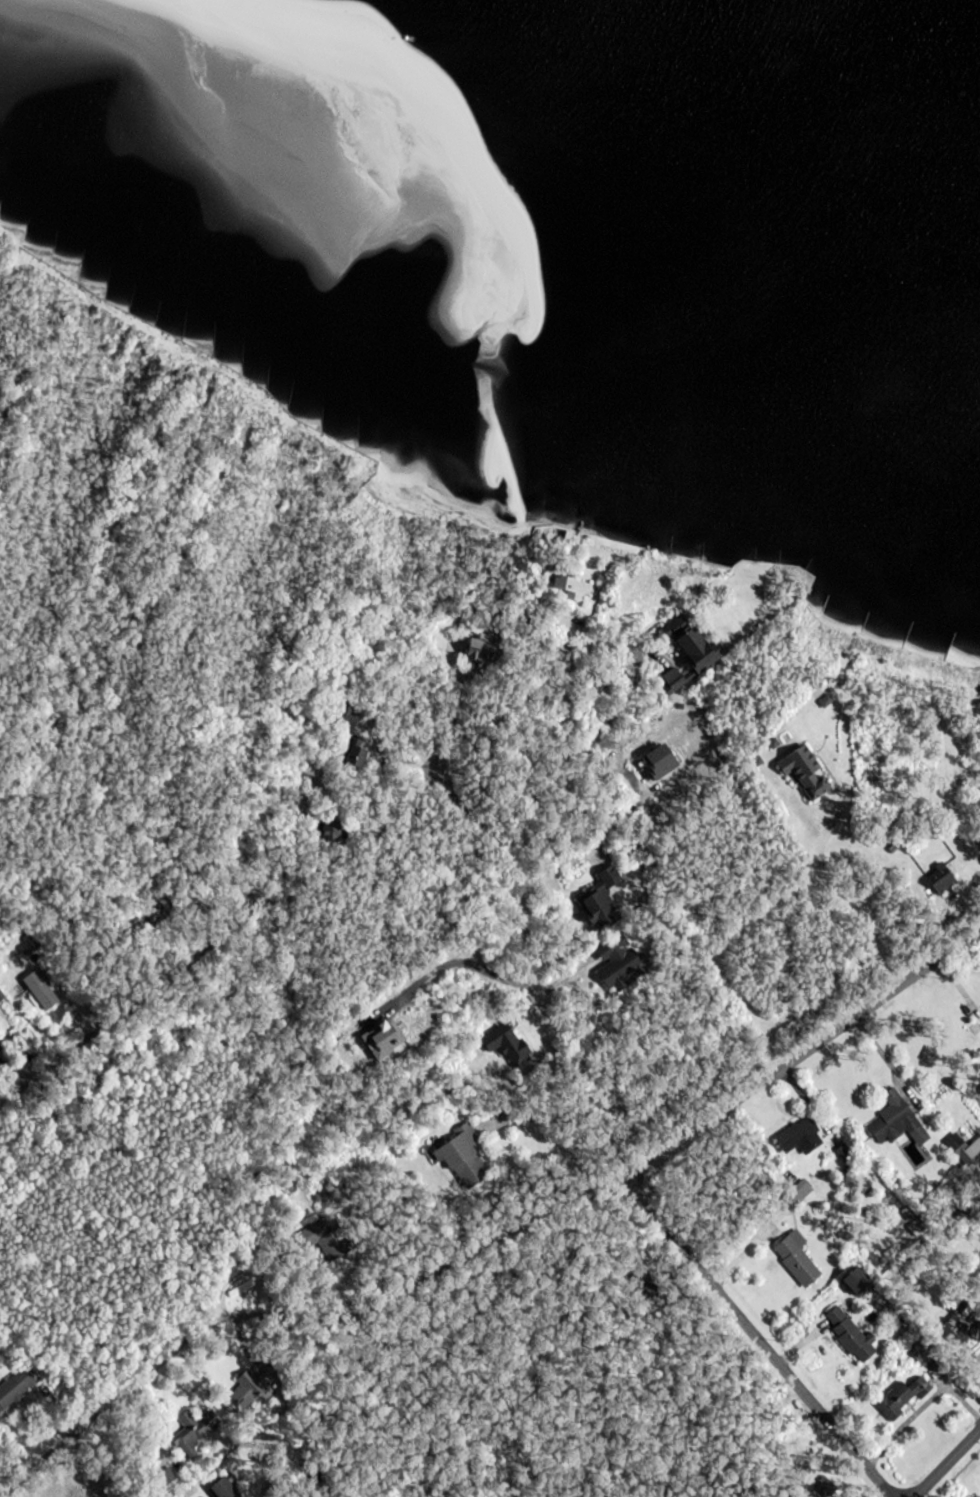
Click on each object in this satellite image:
building: (576, 589)
building: (699, 650)
building: (484, 652)
building: (359, 755)
building: (658, 765)
building: (805, 774)
road: (559, 865)
building: (942, 880)
building: (602, 898)
road: (527, 969)
building: (42, 991)
building: (2, 996)
building: (1, 1049)
building: (513, 1049)
road: (50, 1059)
building: (897, 1120)
building: (804, 1136)
building: (974, 1150)
road: (497, 1240)
building: (797, 1260)
building: (858, 1283)
road: (754, 1334)
building: (851, 1336)
building: (251, 1388)
building: (15, 1389)
building: (902, 1400)
building: (195, 1429)
road: (946, 1462)
building: (227, 1489)

